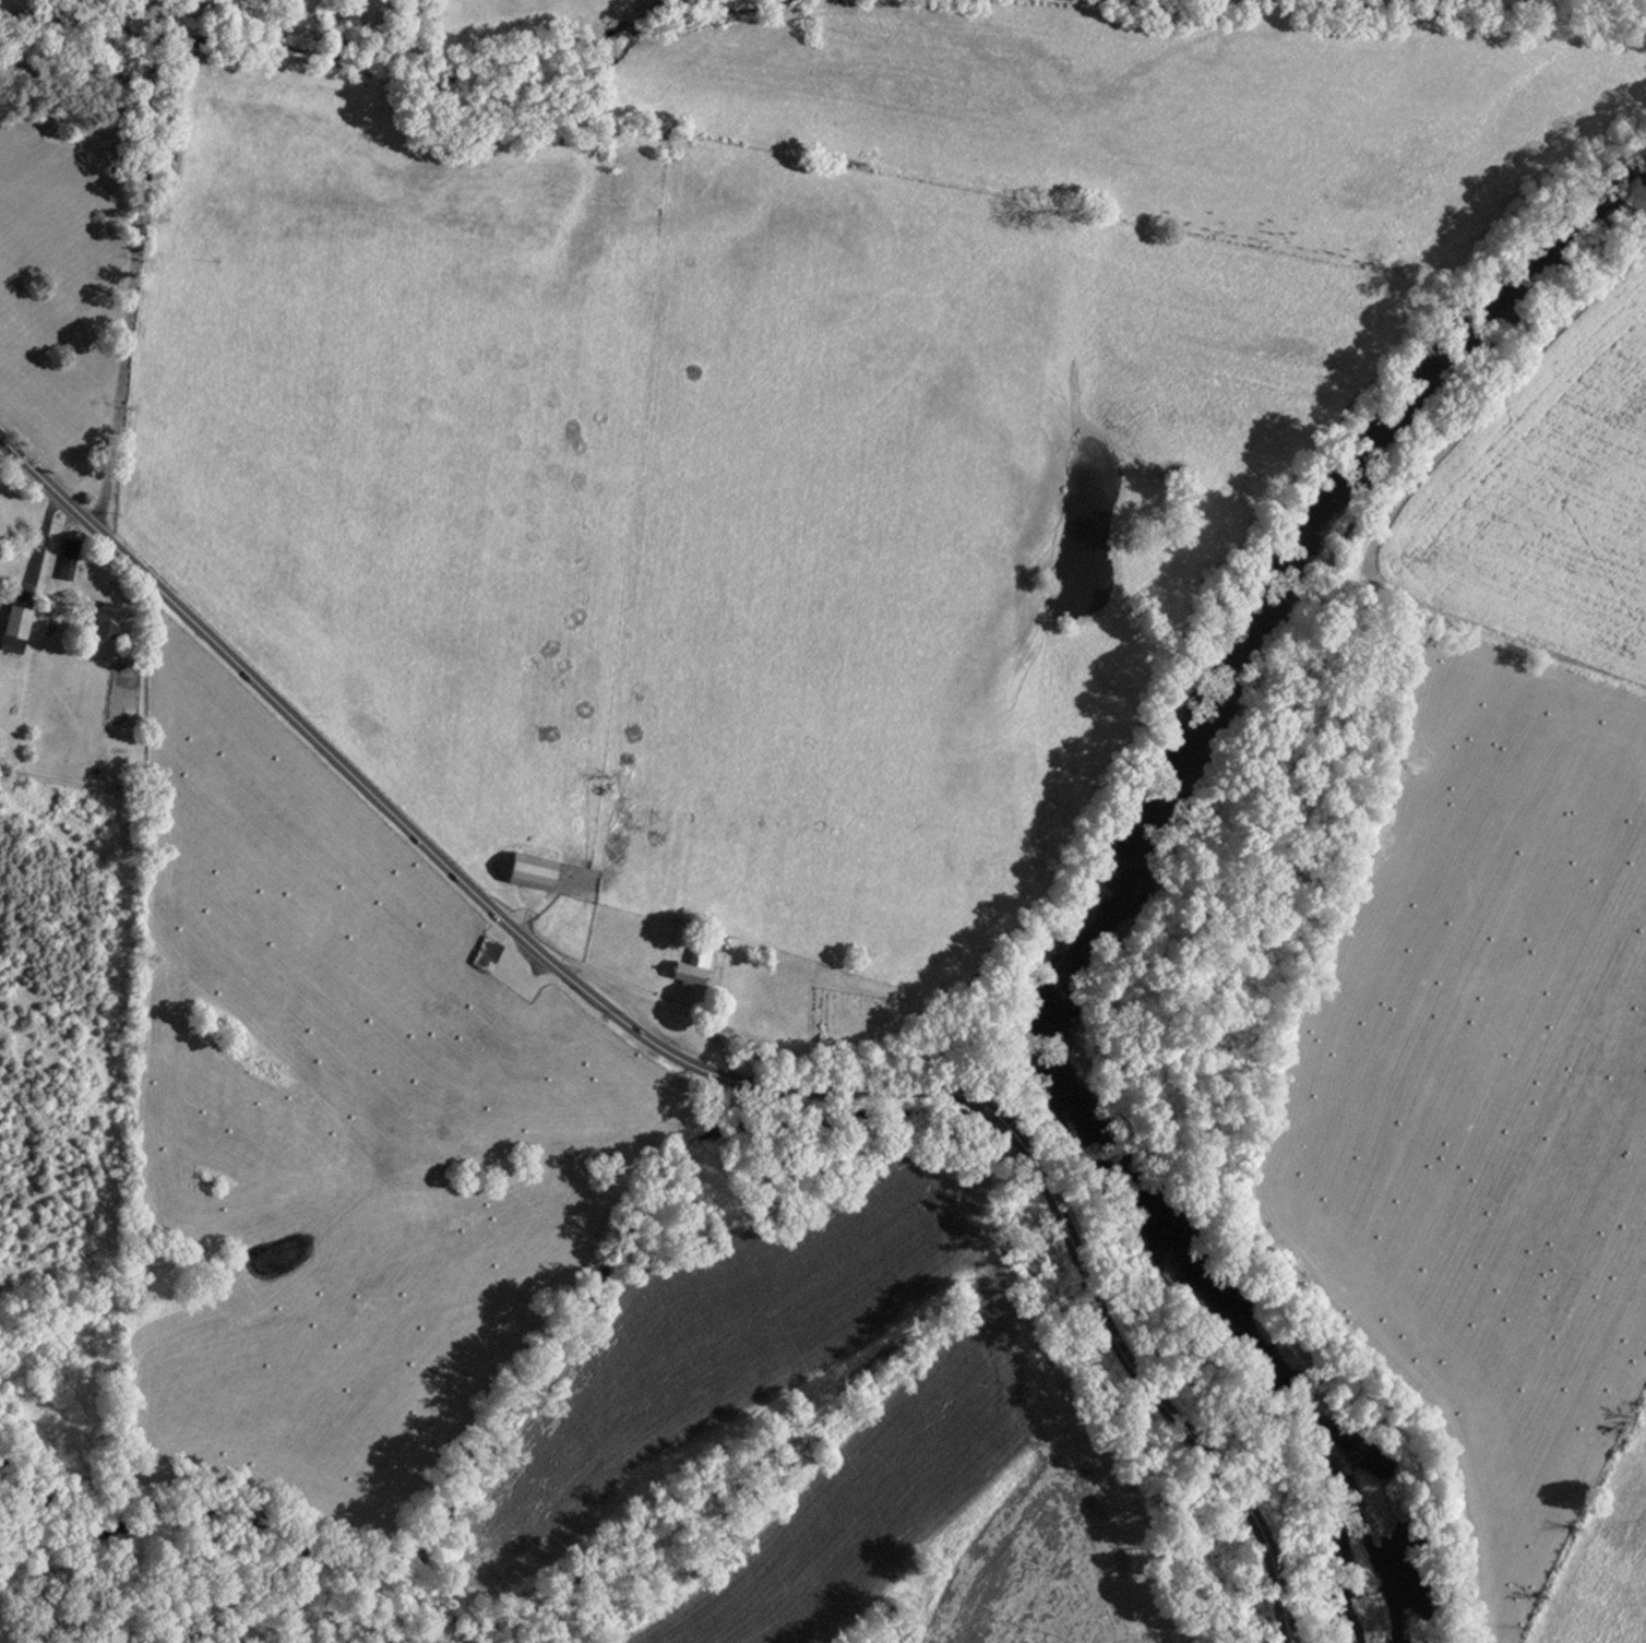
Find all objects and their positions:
road: (170, 3)
building: (370, 9)
road: (85, 19)
road: (119, 372)
building: (68, 556)
building: (106, 620)
building: (14, 627)
building: (532, 868)
river: (1123, 874)
building: (678, 937)
building: (486, 951)
building: (694, 961)
road: (690, 1061)

